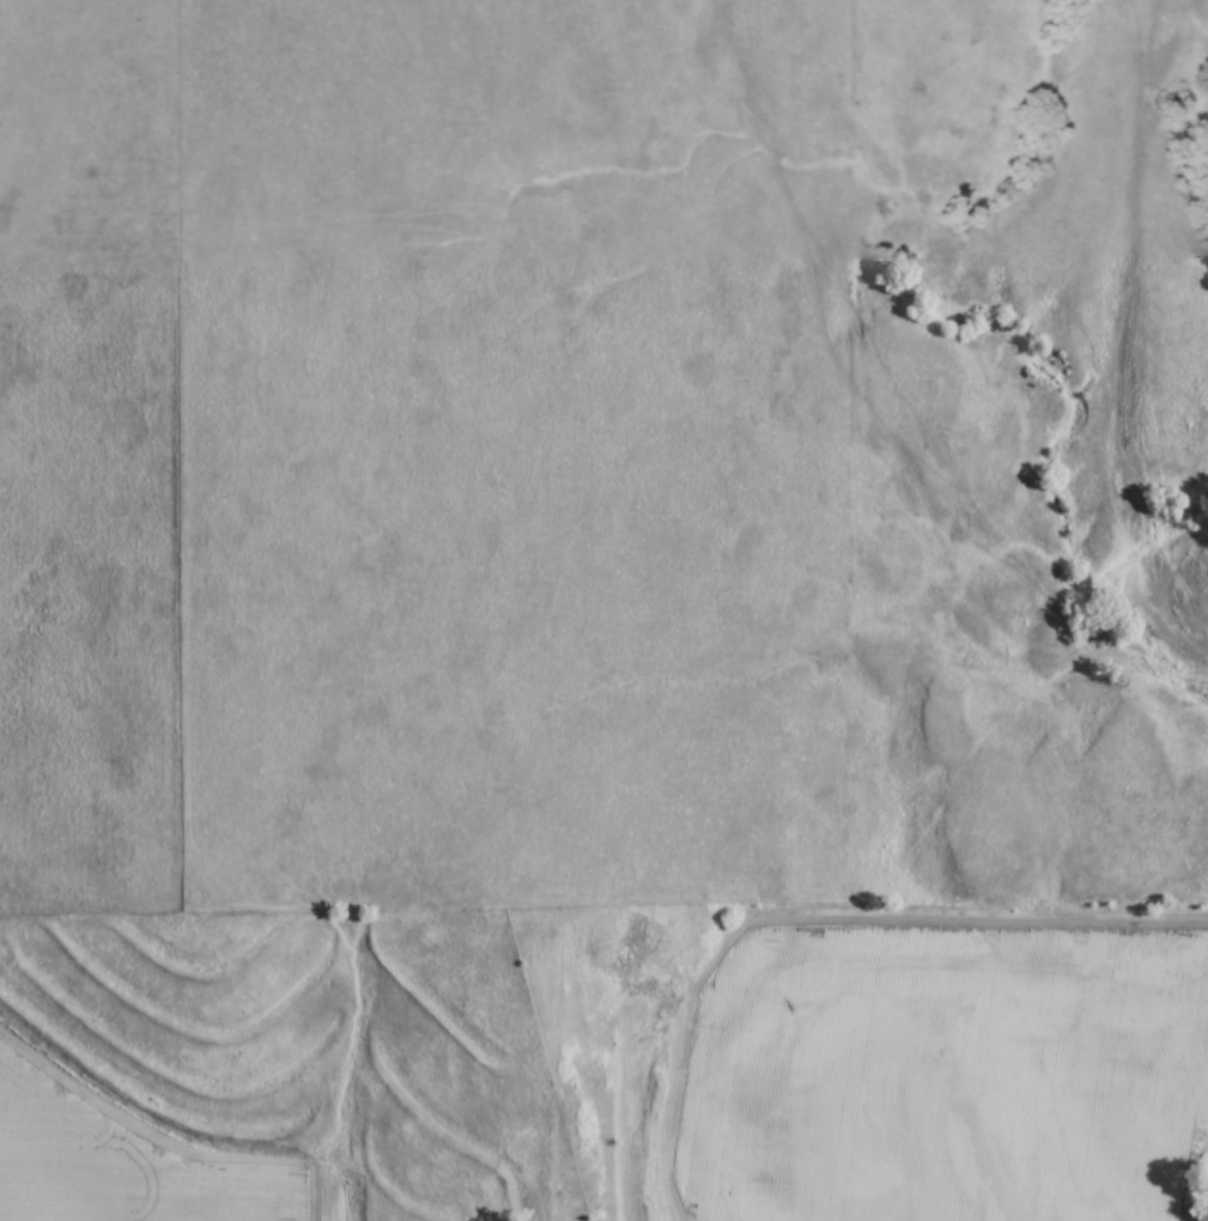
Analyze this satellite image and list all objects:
crop: (129, 1158)

